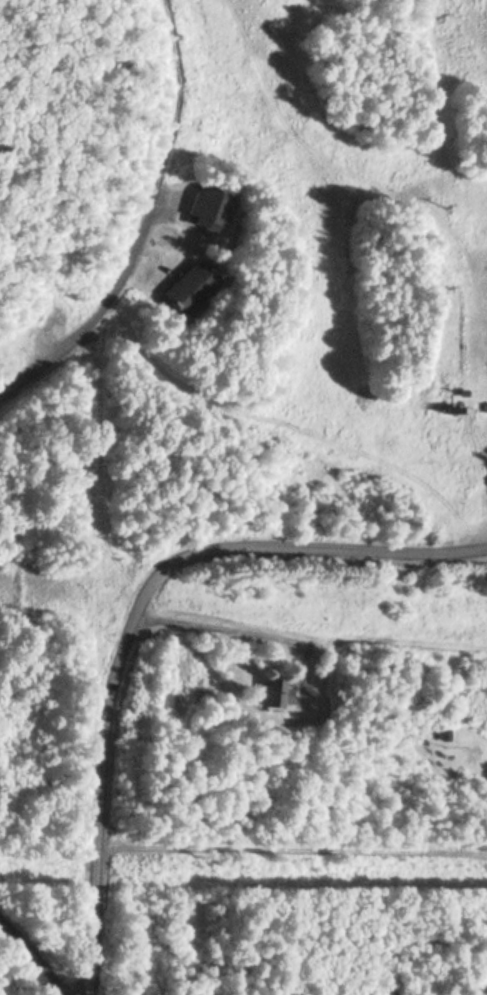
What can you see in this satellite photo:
building: (206, 210)
ski resort: (284, 228)
building: (188, 287)
road: (99, 311)
building: (269, 695)
road: (31, 957)

